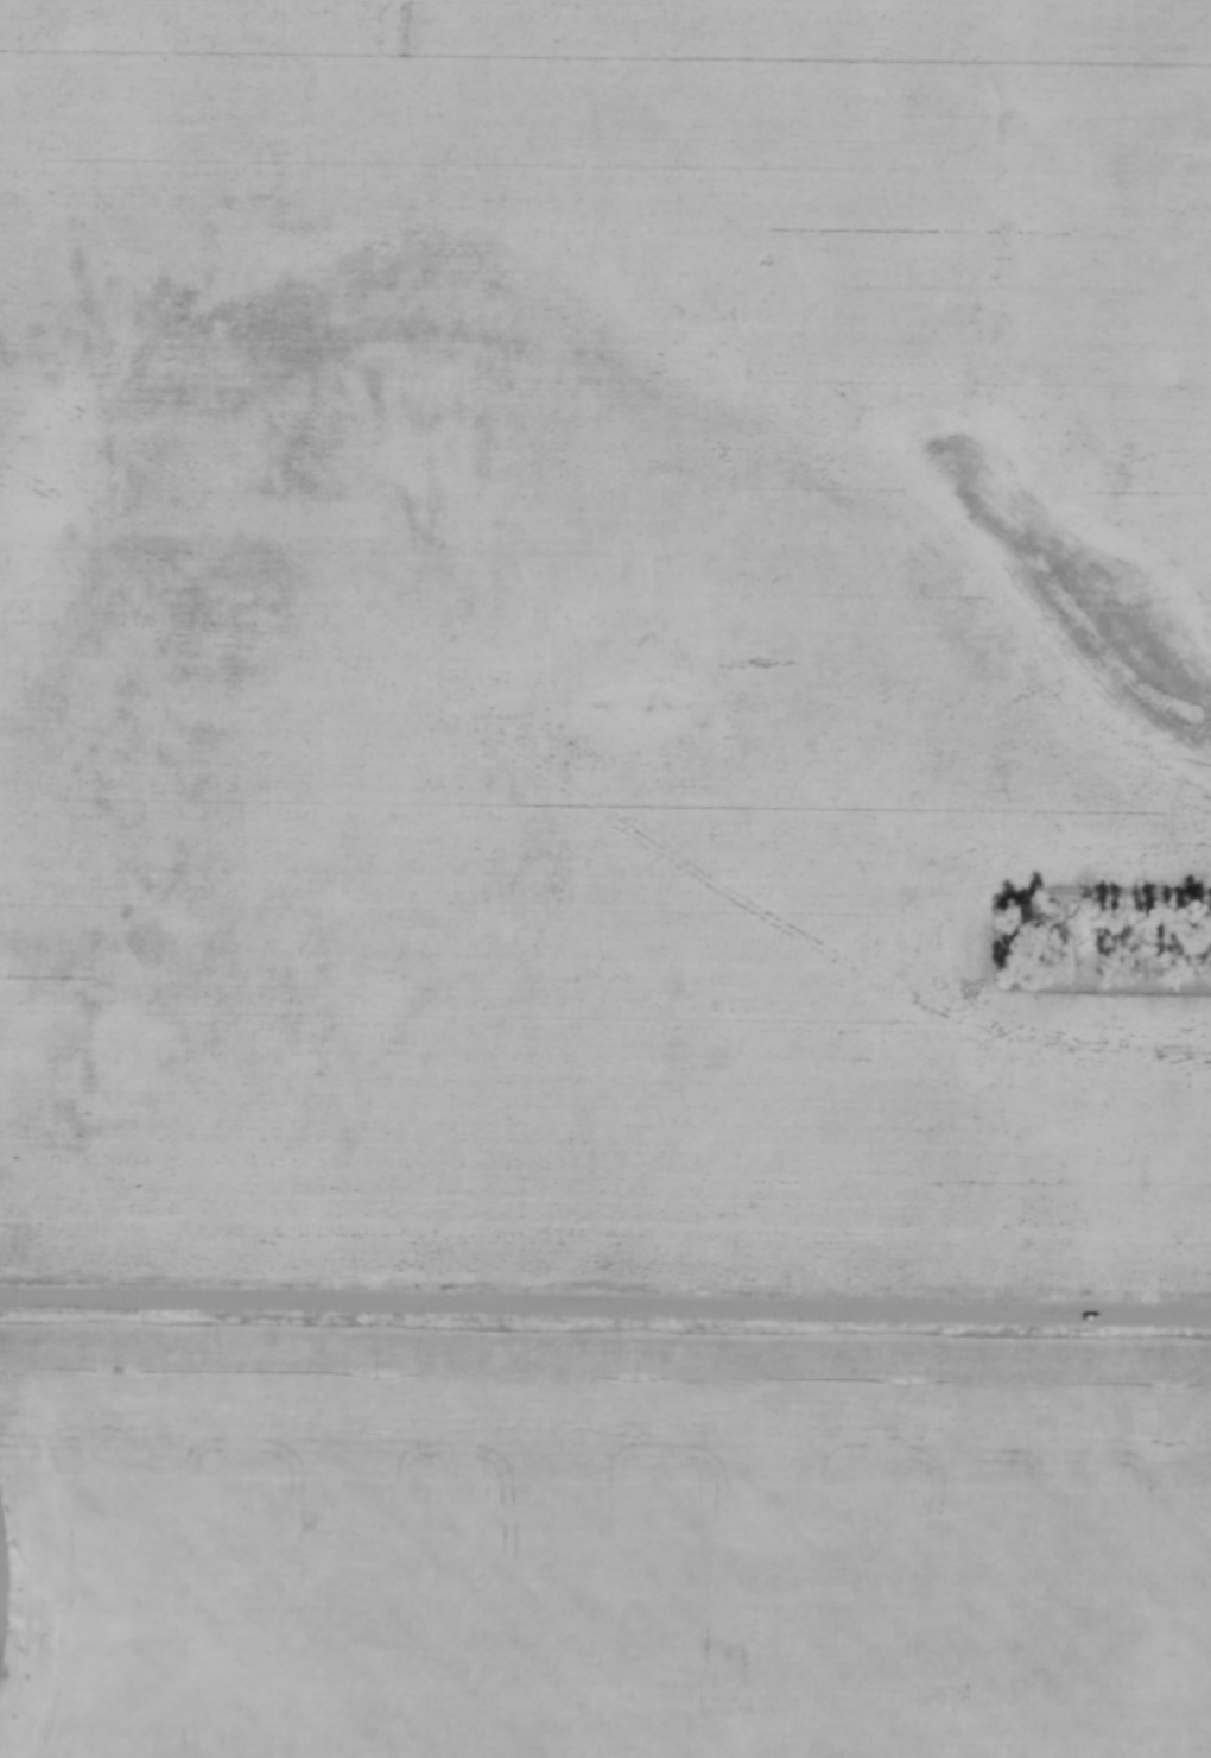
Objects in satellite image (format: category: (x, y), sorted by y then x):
road: (604, 1307)

